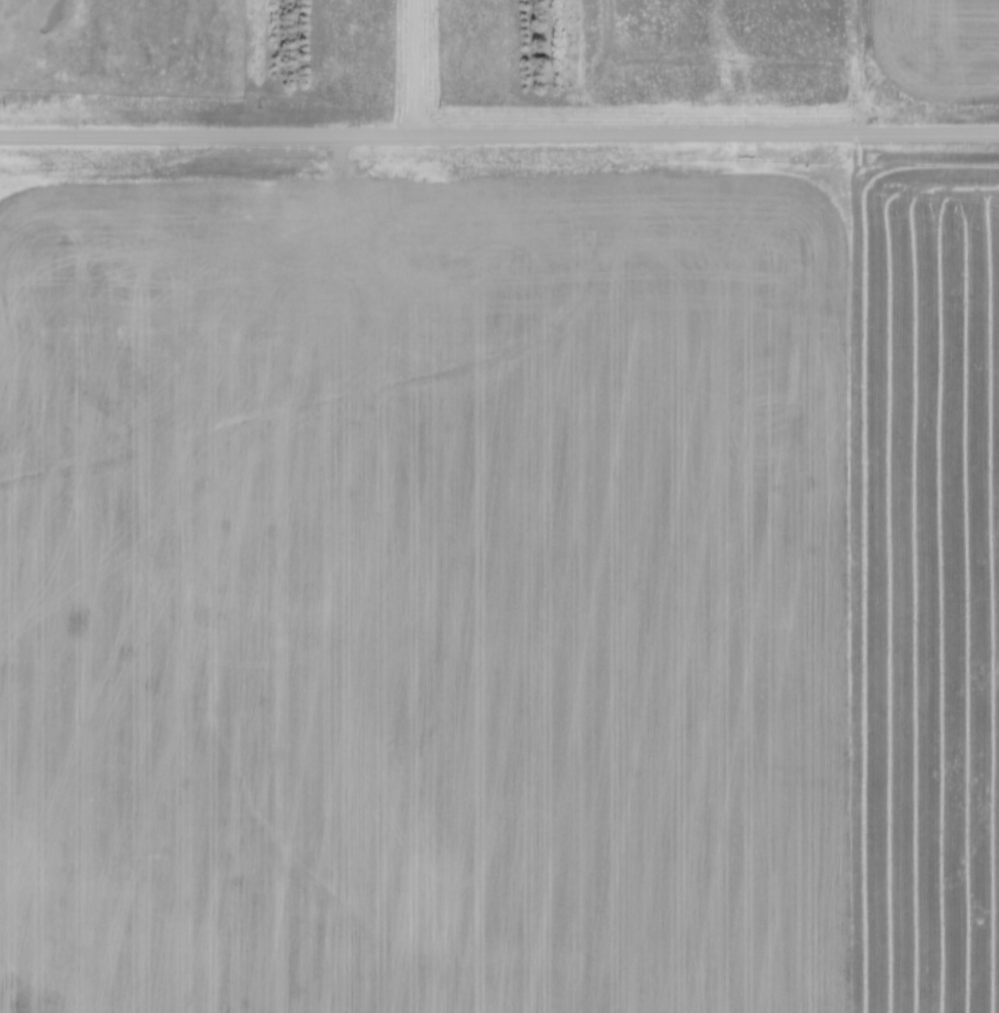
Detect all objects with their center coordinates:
road: (419, 69)
road: (499, 137)

